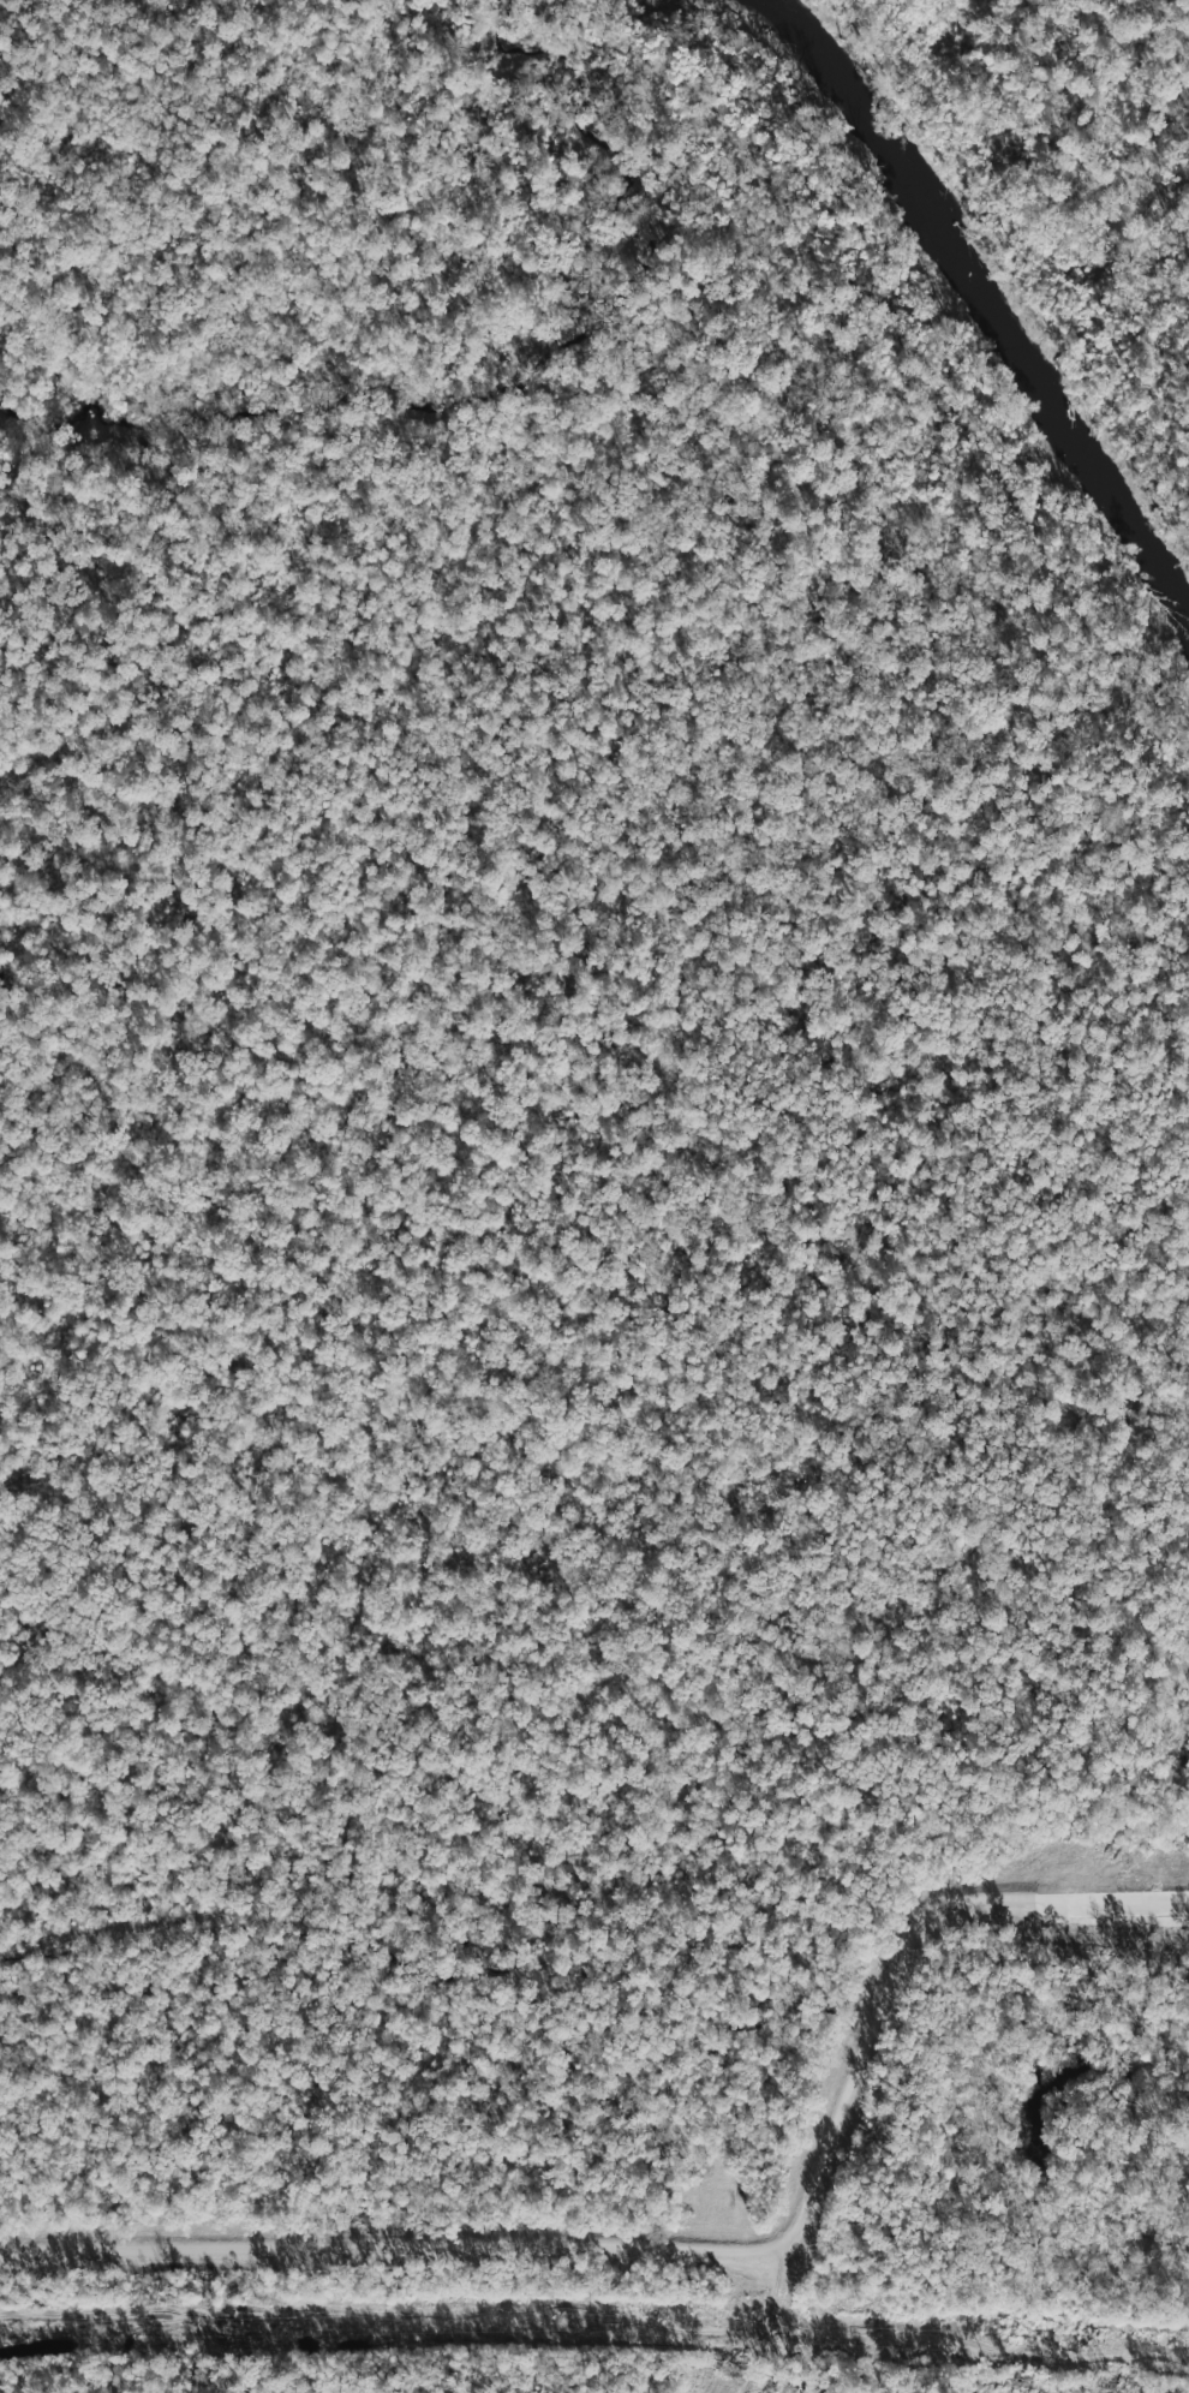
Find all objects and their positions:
river: (992, 321)
road: (1116, 1906)
road: (633, 2248)
power tower: (564, 2321)

